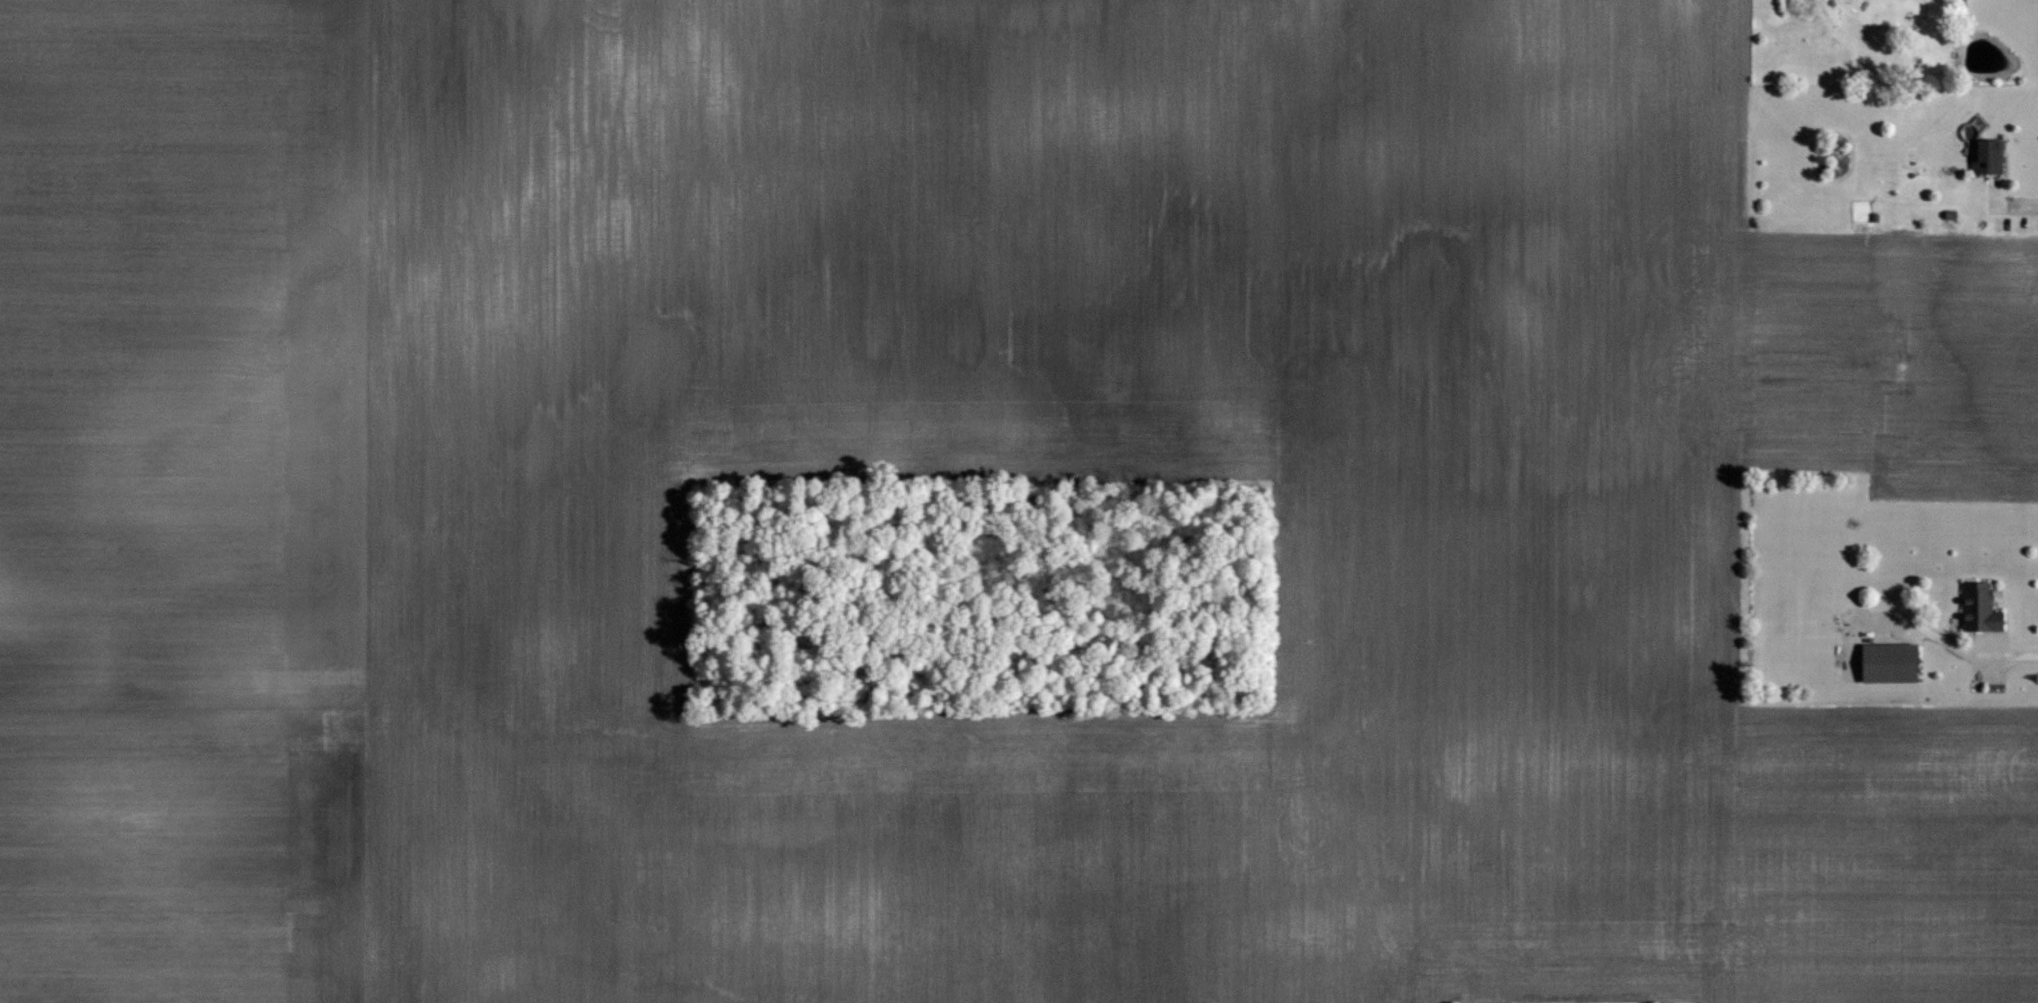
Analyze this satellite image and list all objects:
building: (1990, 156)
road: (2015, 205)
building: (1981, 608)
building: (1892, 663)

